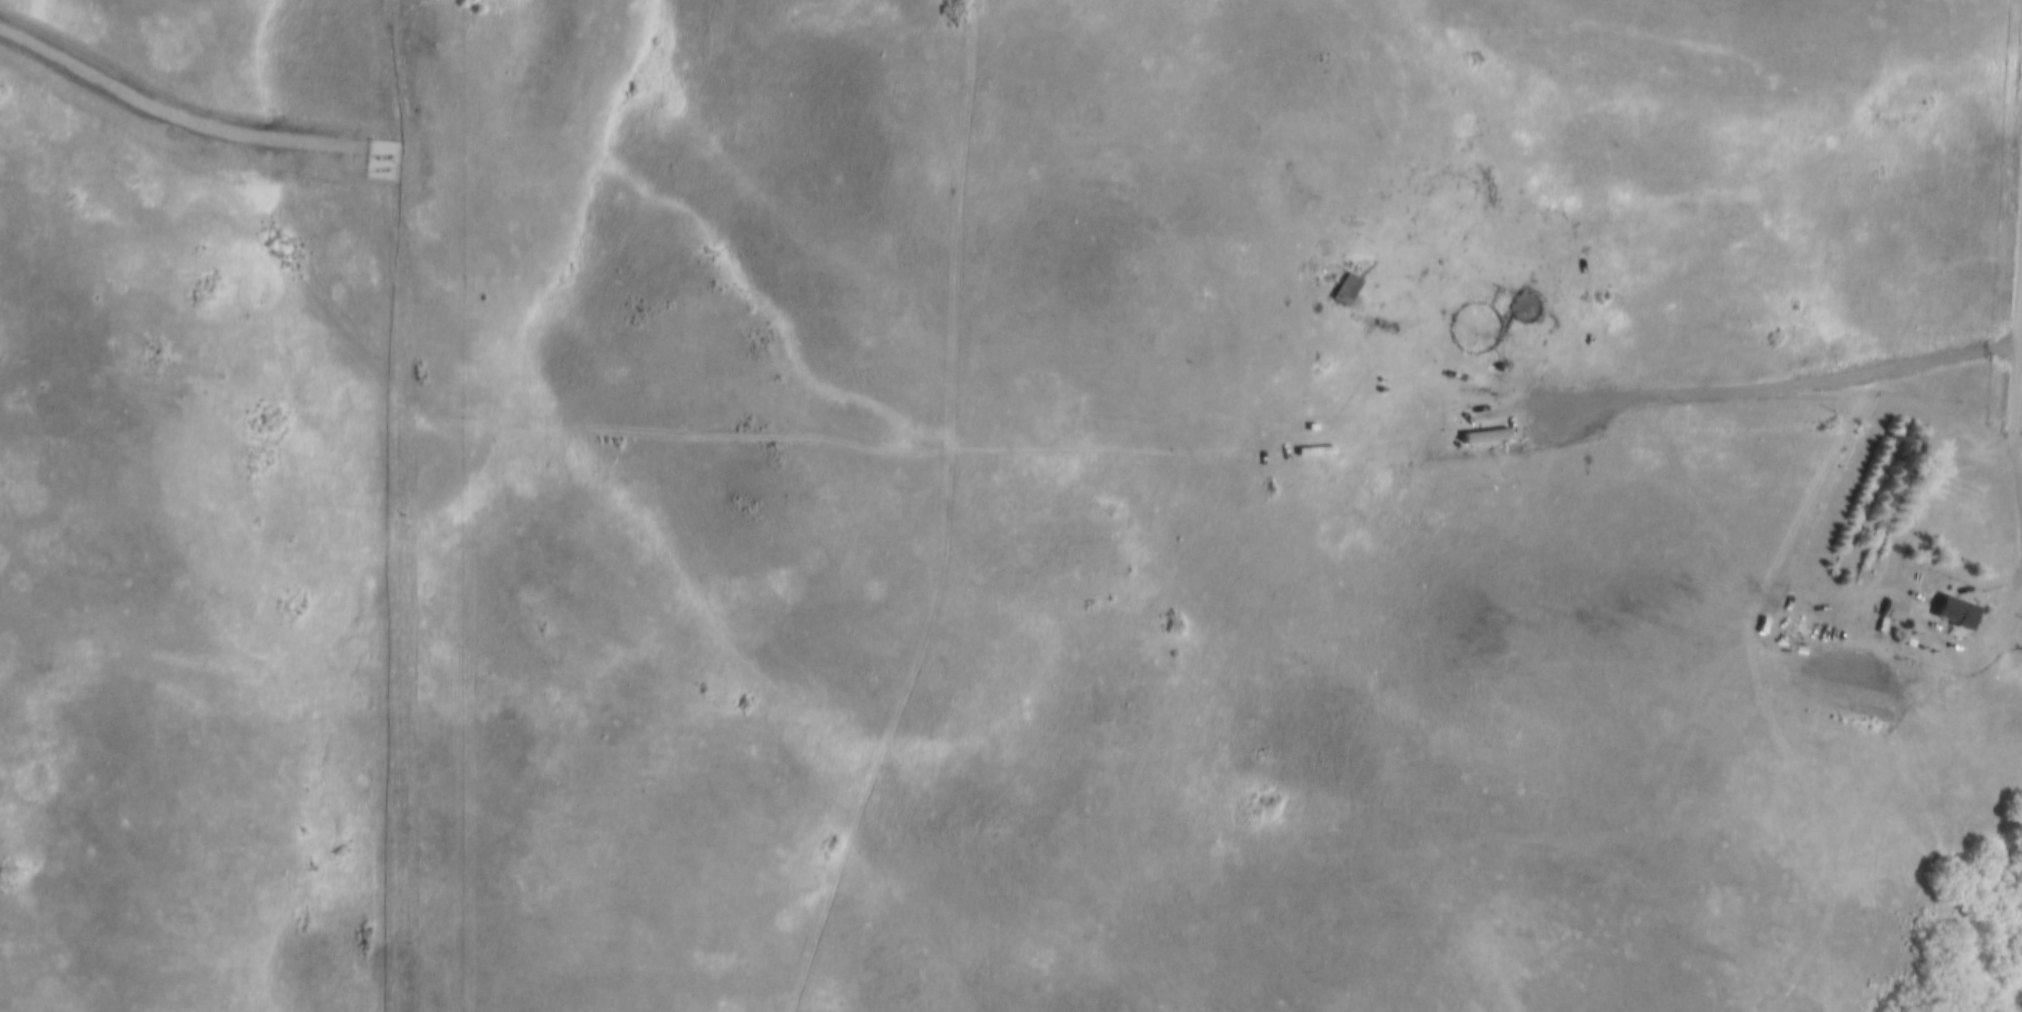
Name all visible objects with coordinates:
building: (1342, 286)
building: (1352, 287)
road: (2013, 371)
road: (1787, 378)
building: (1484, 429)
building: (1311, 447)
road: (1930, 489)
road: (1728, 540)
building: (1962, 610)
building: (1944, 627)
building: (1900, 655)

